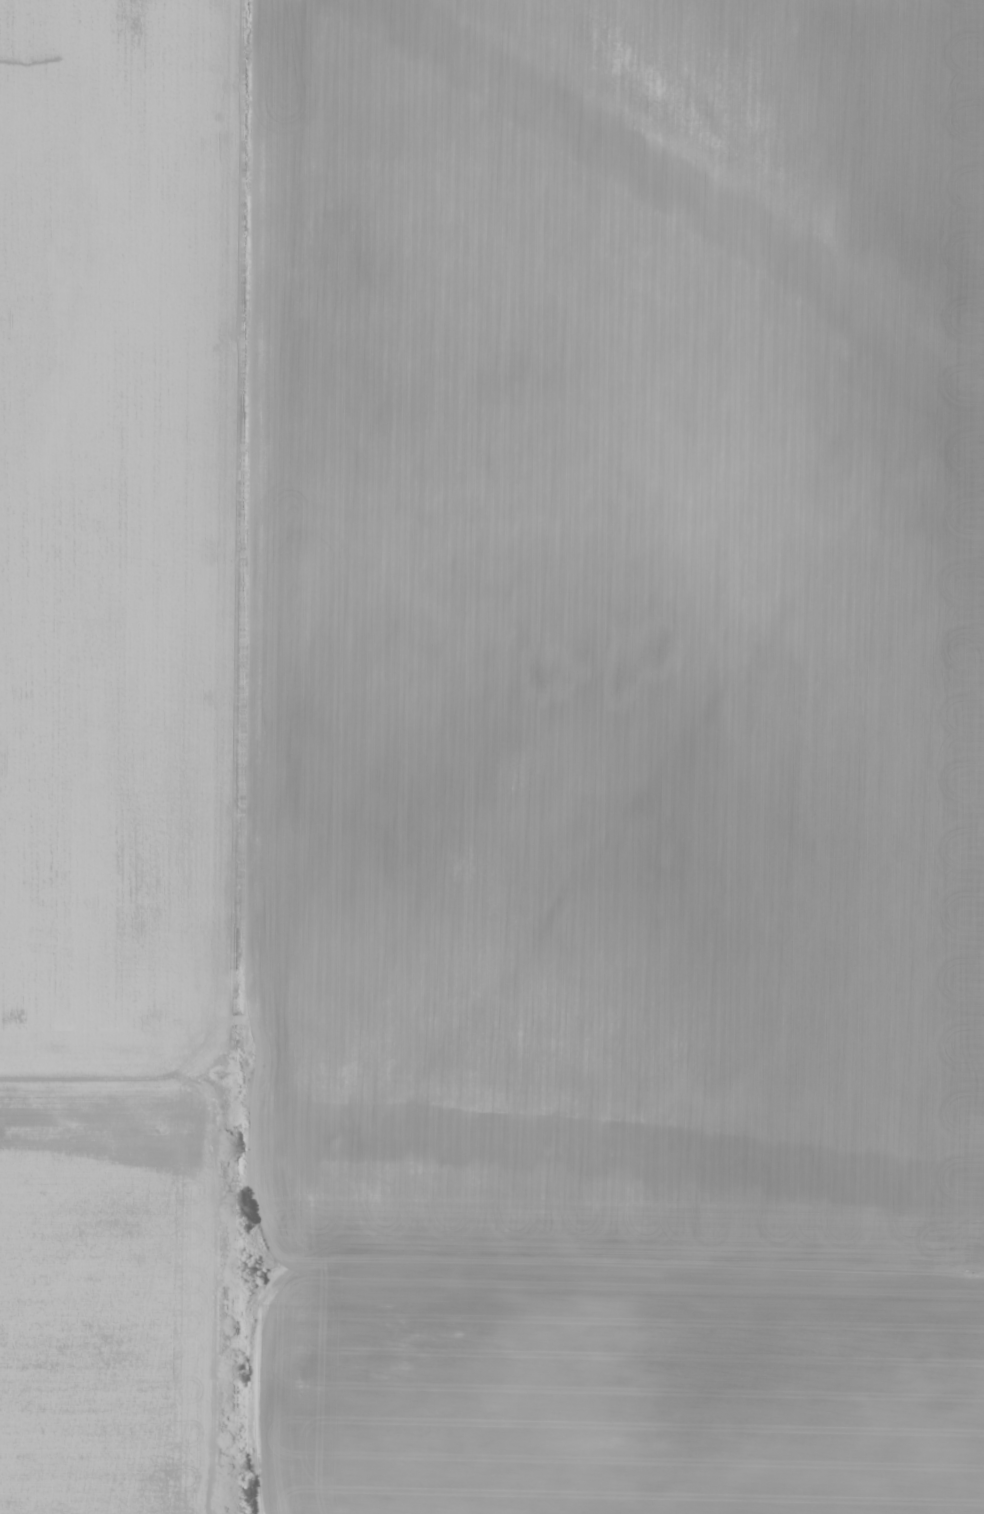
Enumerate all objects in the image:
road: (116, 1066)

